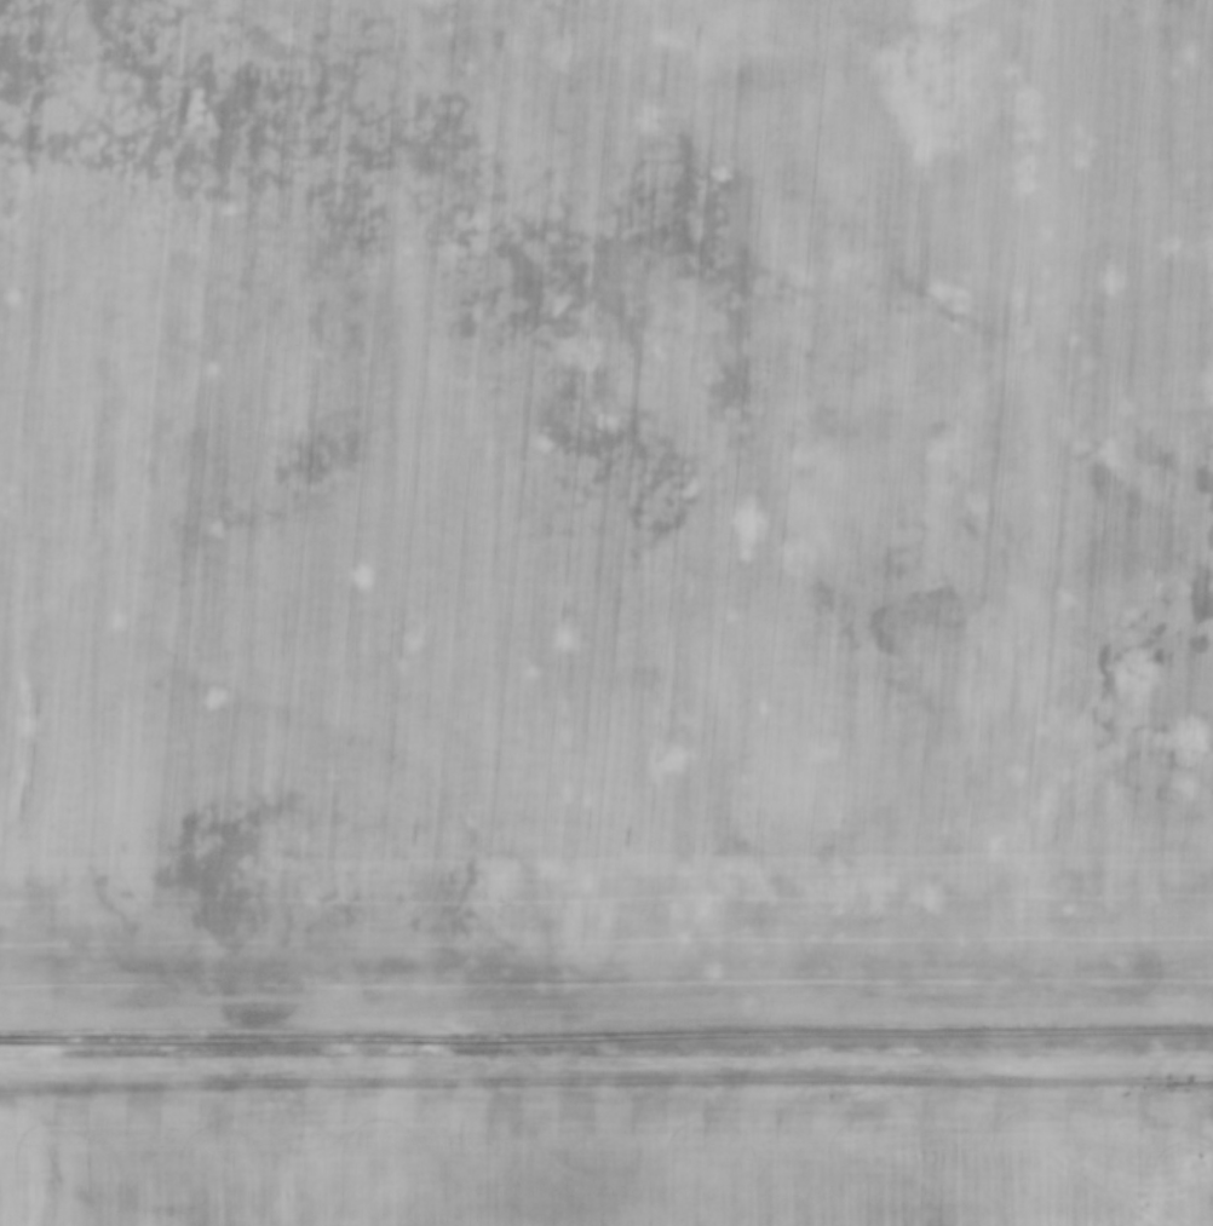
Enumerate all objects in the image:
road: (606, 1036)

